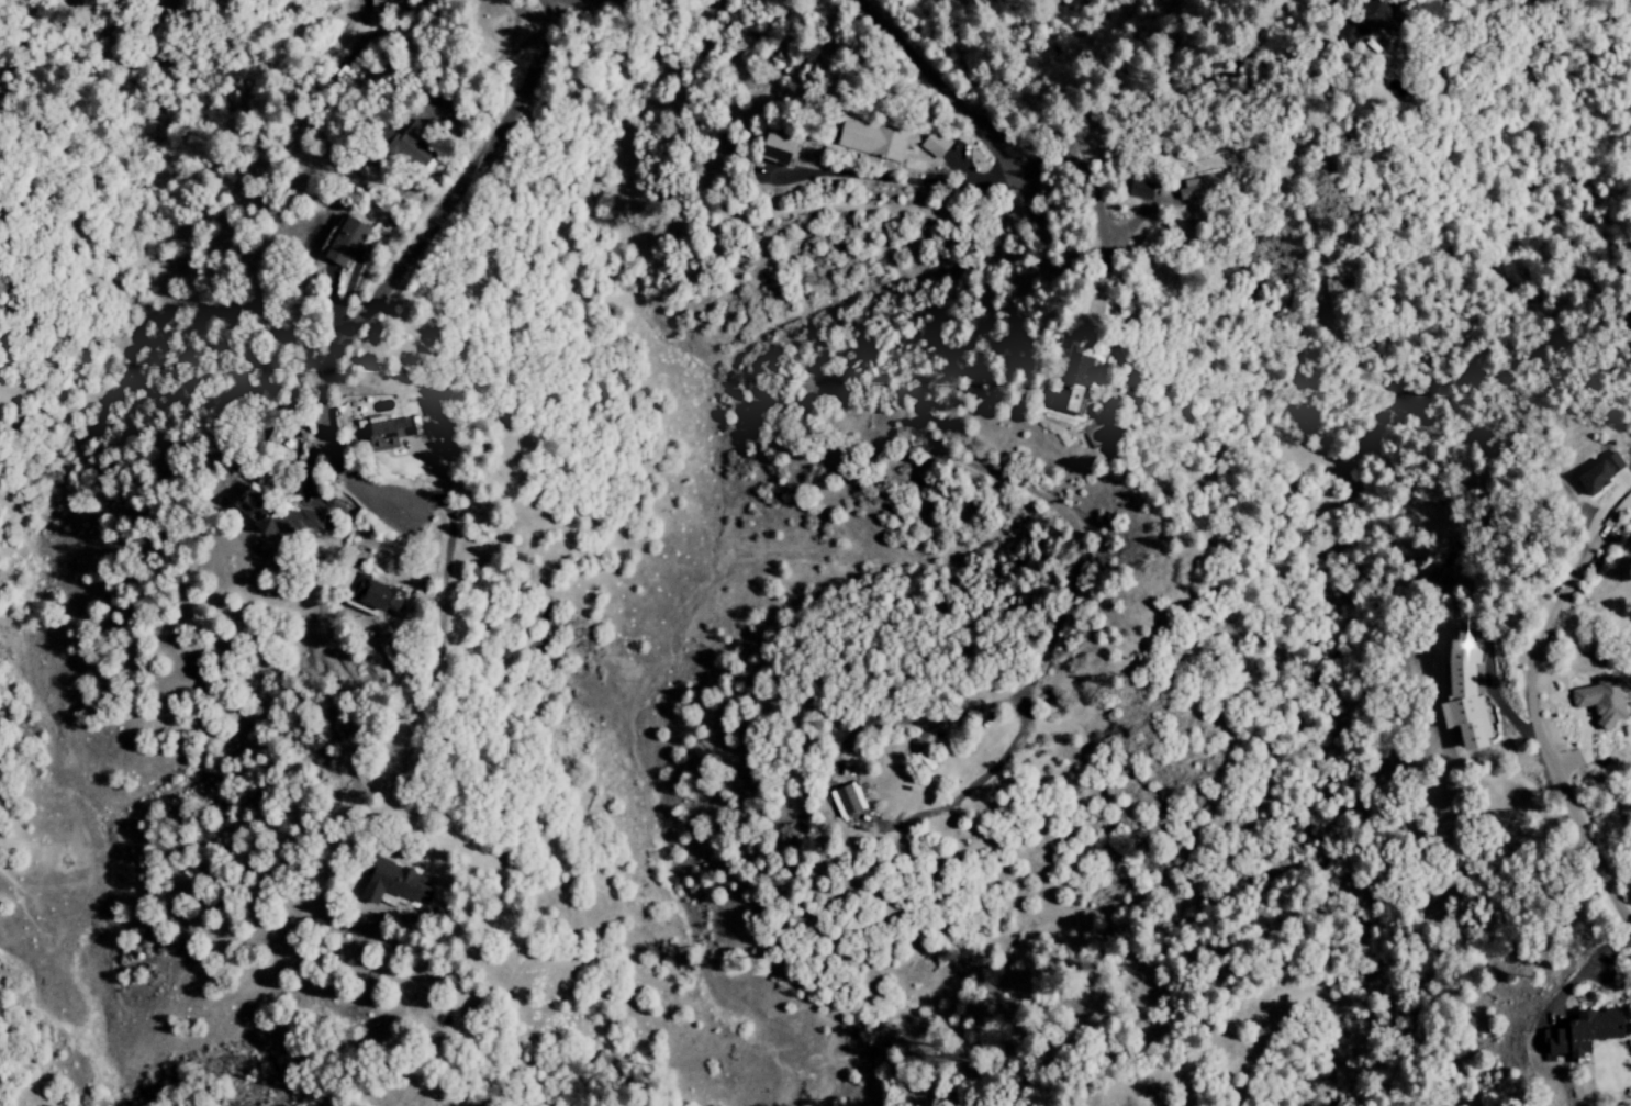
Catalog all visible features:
building: (383, 5)
road: (523, 14)
building: (1354, 23)
road: (1463, 51)
road: (434, 82)
road: (931, 85)
road: (423, 112)
building: (864, 143)
building: (929, 145)
building: (395, 146)
building: (771, 152)
road: (886, 179)
building: (1132, 192)
building: (1187, 192)
road: (1095, 205)
building: (329, 247)
road: (398, 265)
road: (351, 276)
road: (1094, 289)
road: (331, 304)
building: (1062, 376)
building: (400, 423)
building: (370, 432)
road: (426, 460)
building: (1593, 471)
road: (308, 496)
building: (270, 516)
road: (427, 563)
building: (369, 596)
road: (435, 666)
building: (1461, 693)
building: (1596, 701)
road: (1540, 707)
building: (844, 800)
building: (388, 882)
building: (1576, 1034)

